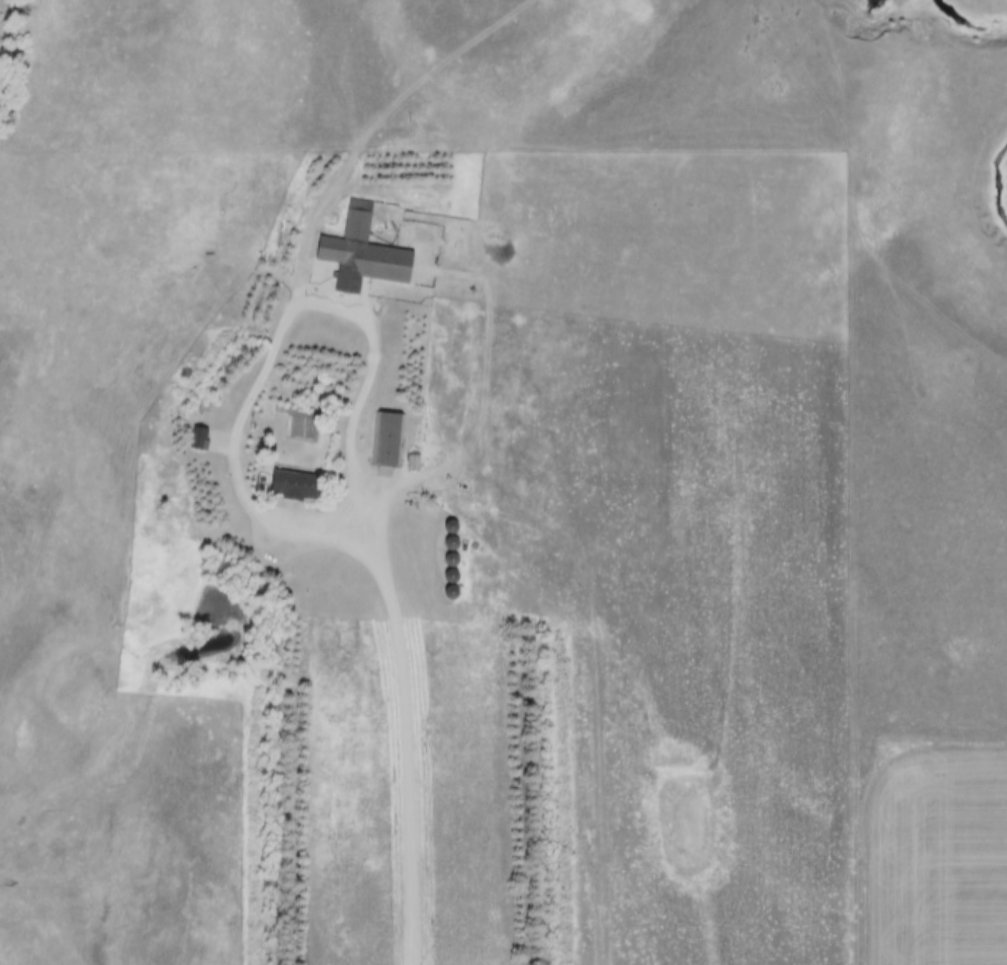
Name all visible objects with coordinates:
building: (365, 245)
road: (304, 261)
building: (200, 430)
building: (387, 431)
building: (297, 477)
road: (316, 523)
road: (399, 628)

